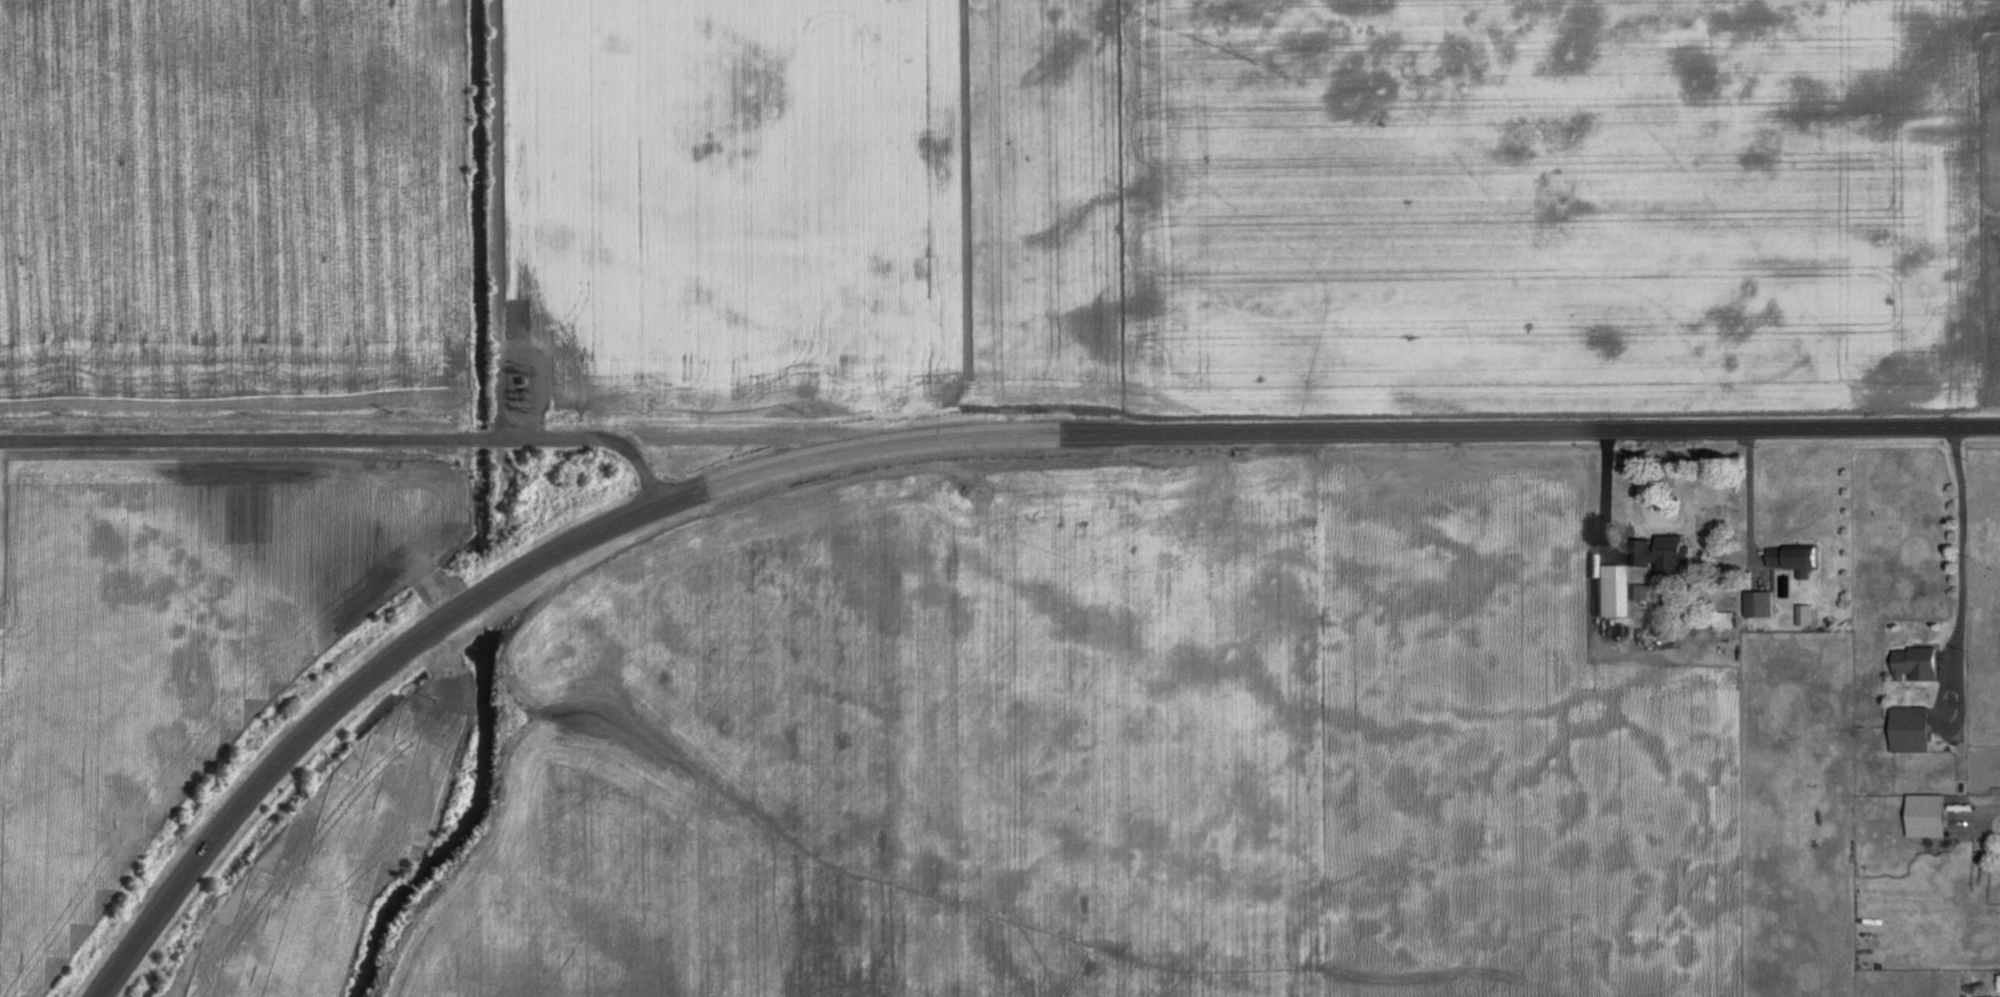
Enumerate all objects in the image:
road: (349, 439)
road: (947, 440)
road: (575, 478)
road: (1605, 492)
road: (1750, 496)
park: (1, 543)
building: (1666, 553)
building: (1799, 560)
building: (1612, 590)
building: (1639, 592)
building: (1762, 604)
building: (1807, 615)
road: (1963, 634)
building: (1919, 664)
building: (1915, 730)
building: (1931, 816)

